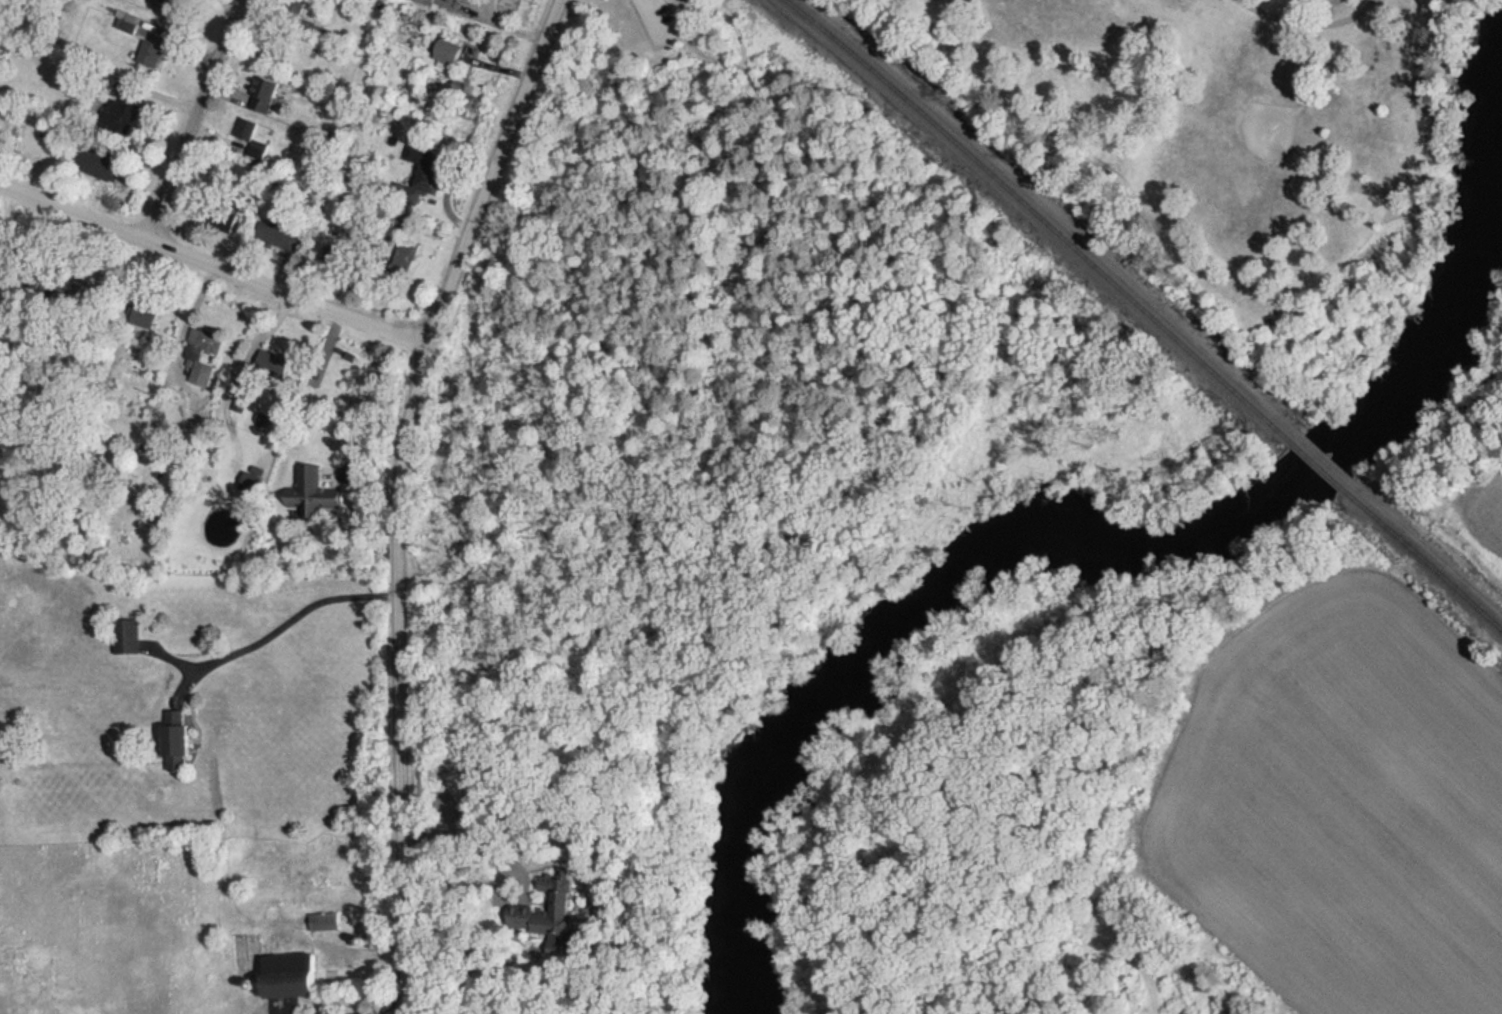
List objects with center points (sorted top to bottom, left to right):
building: (428, 1)
road: (500, 18)
road: (653, 19)
parking lot: (654, 19)
road: (1308, 23)
building: (1372, 49)
building: (450, 52)
building: (152, 53)
road: (194, 119)
park: (1243, 146)
park: (1246, 146)
road: (72, 211)
railway: (1037, 215)
road: (288, 293)
railway: (1319, 466)
road: (398, 493)
crop: (1488, 515)
river: (1094, 545)
railway: (1428, 563)
road: (294, 615)
building: (128, 637)
building: (182, 741)
crop: (1347, 803)
road: (464, 828)
building: (324, 920)
building: (294, 975)
road: (373, 1007)
road: (353, 1013)

